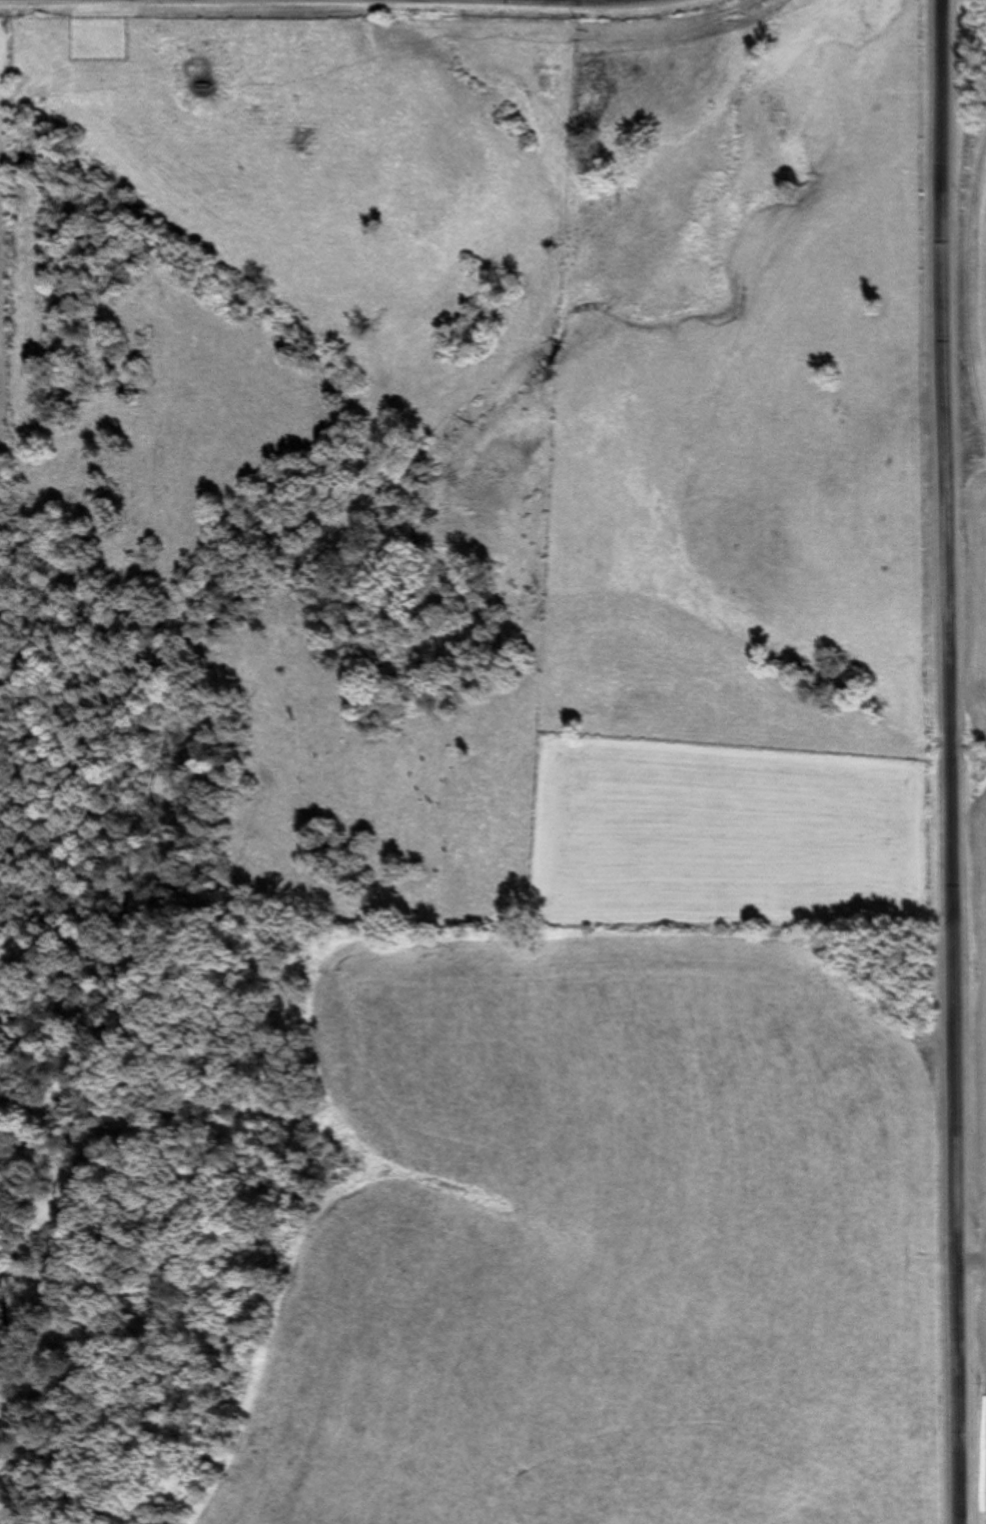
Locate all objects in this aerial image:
road: (919, 762)

